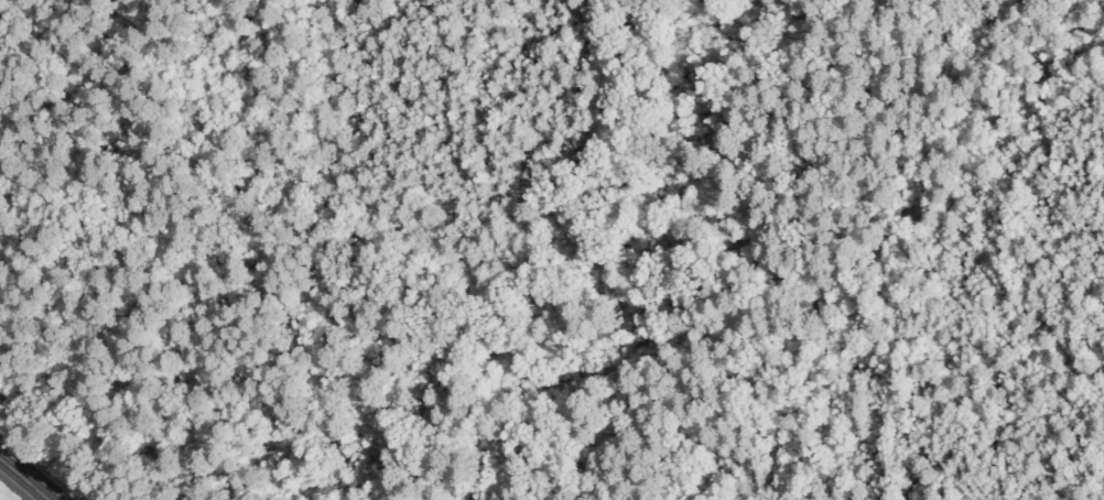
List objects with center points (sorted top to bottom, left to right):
road: (22, 481)

